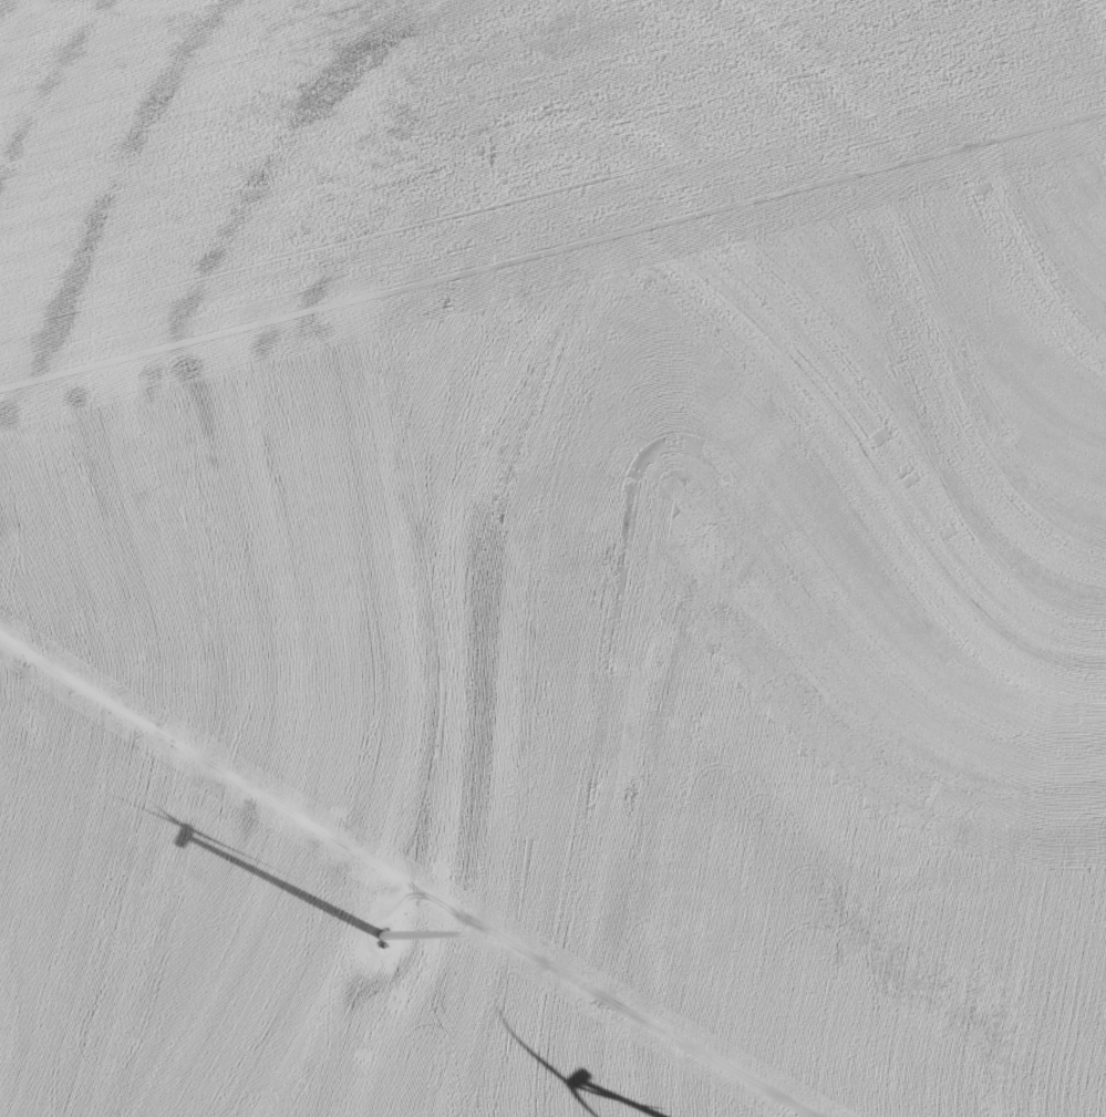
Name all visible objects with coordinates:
road: (406, 880)
wind turbine: (373, 934)

